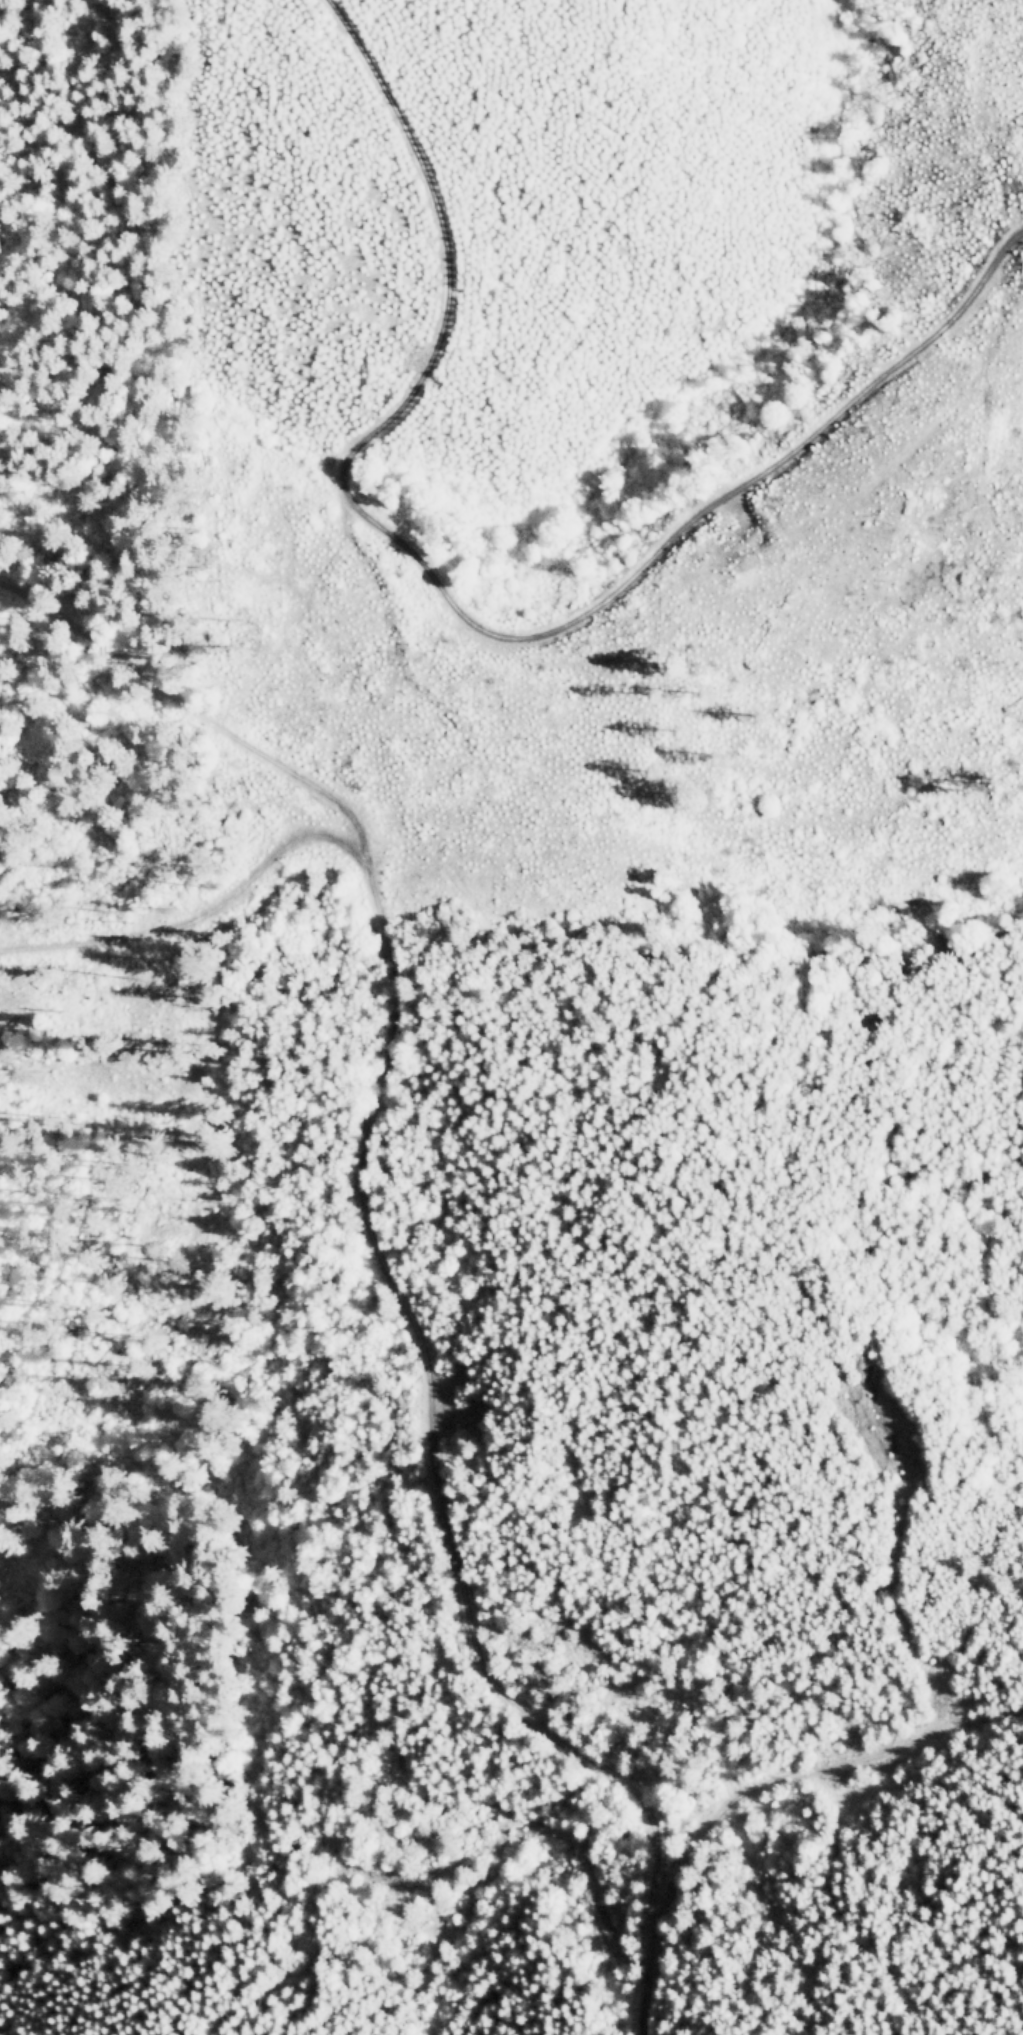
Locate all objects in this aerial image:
road: (443, 245)
road: (693, 527)
road: (301, 610)
road: (111, 654)
road: (190, 919)
road: (407, 1314)
road: (812, 1759)
road: (652, 1968)

